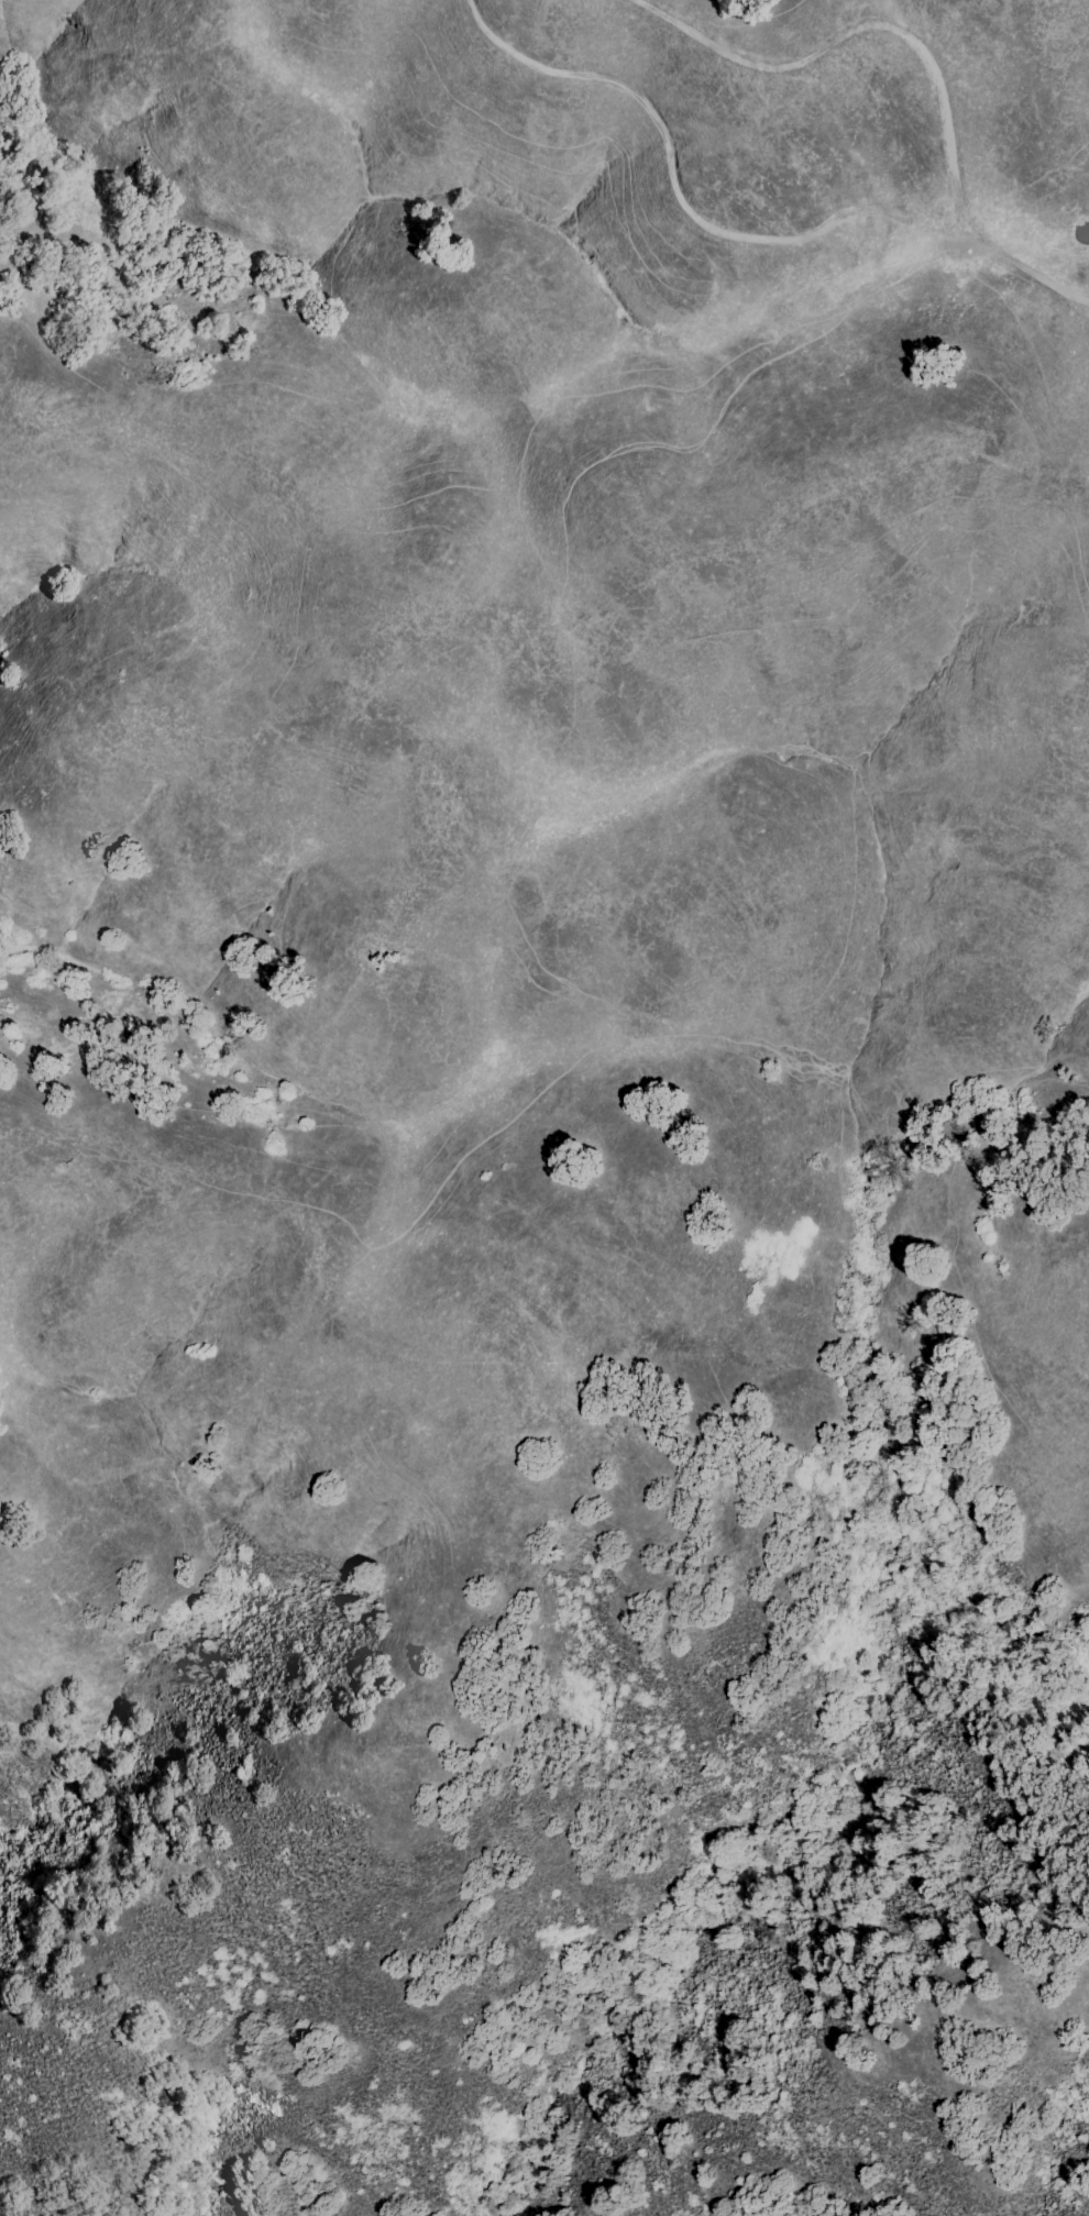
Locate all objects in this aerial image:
road: (851, 32)
road: (675, 188)
road: (1018, 265)

